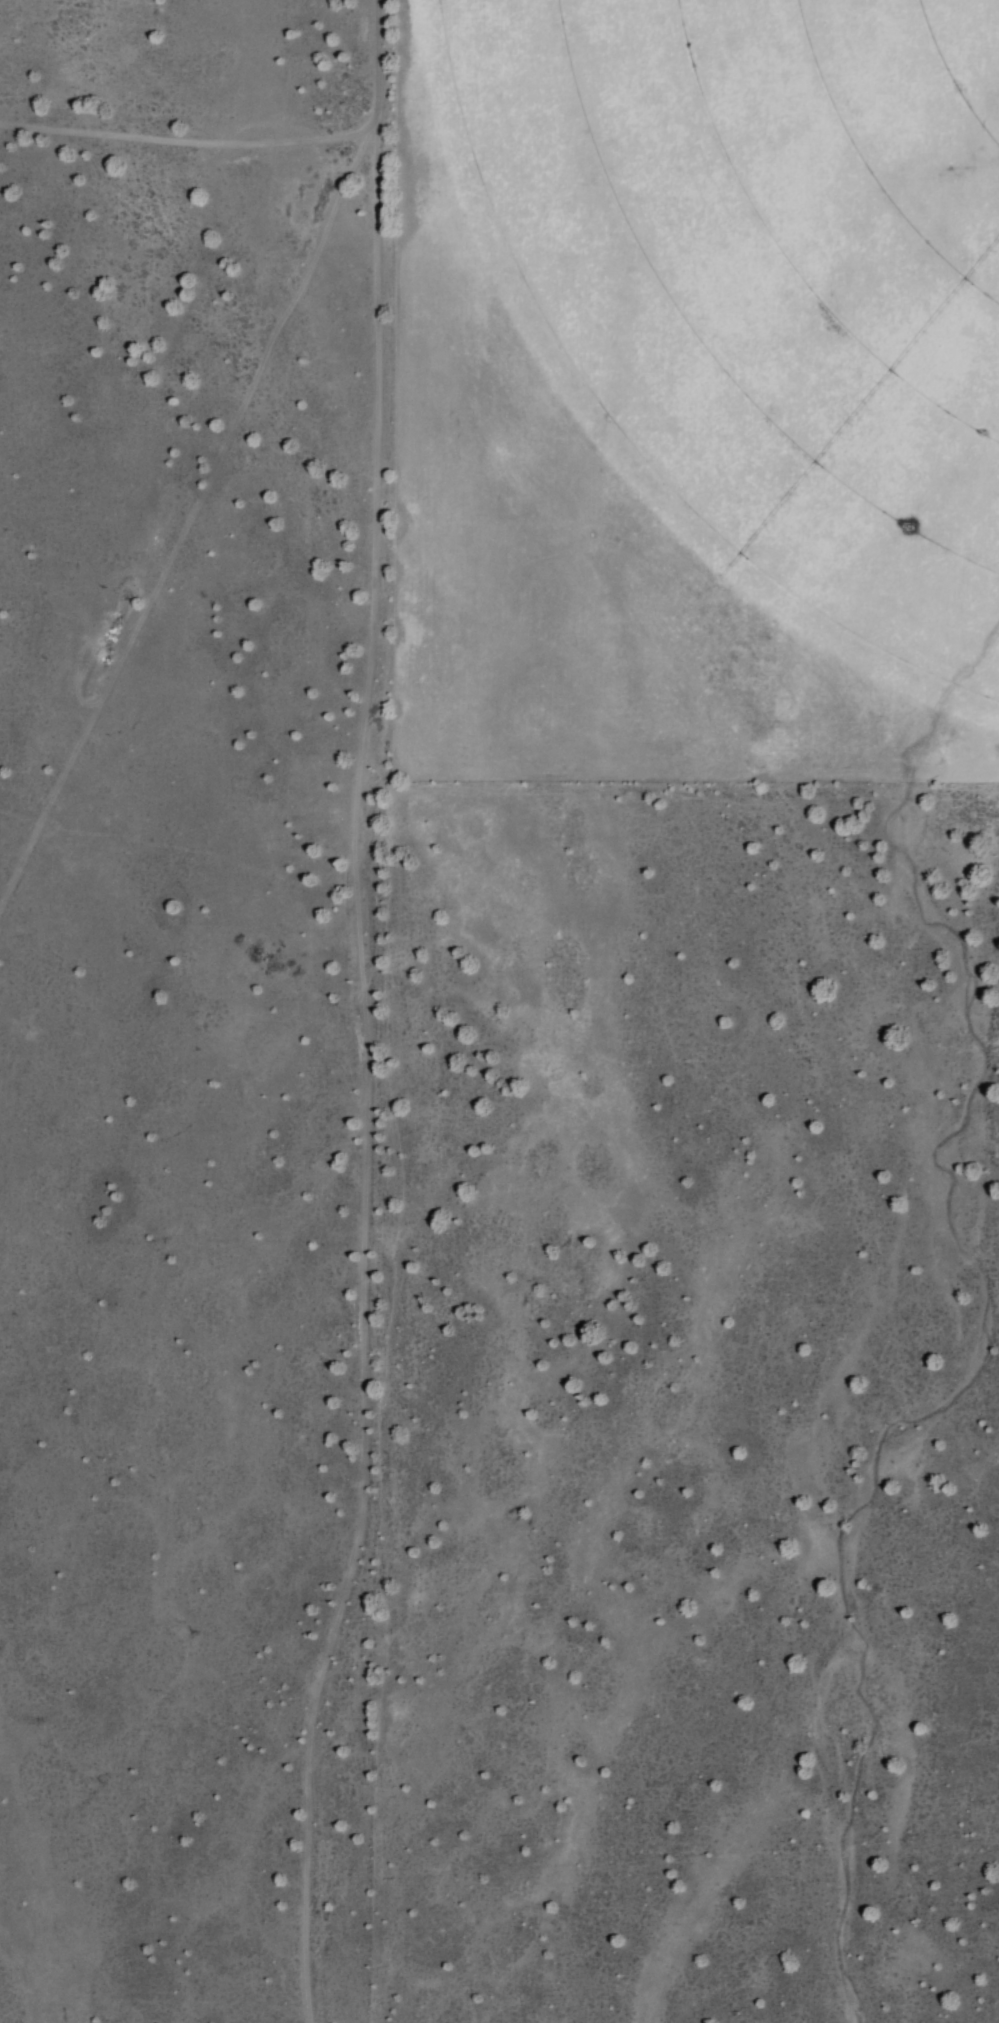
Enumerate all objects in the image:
crop: (744, 321)
road: (214, 461)
road: (368, 1064)

